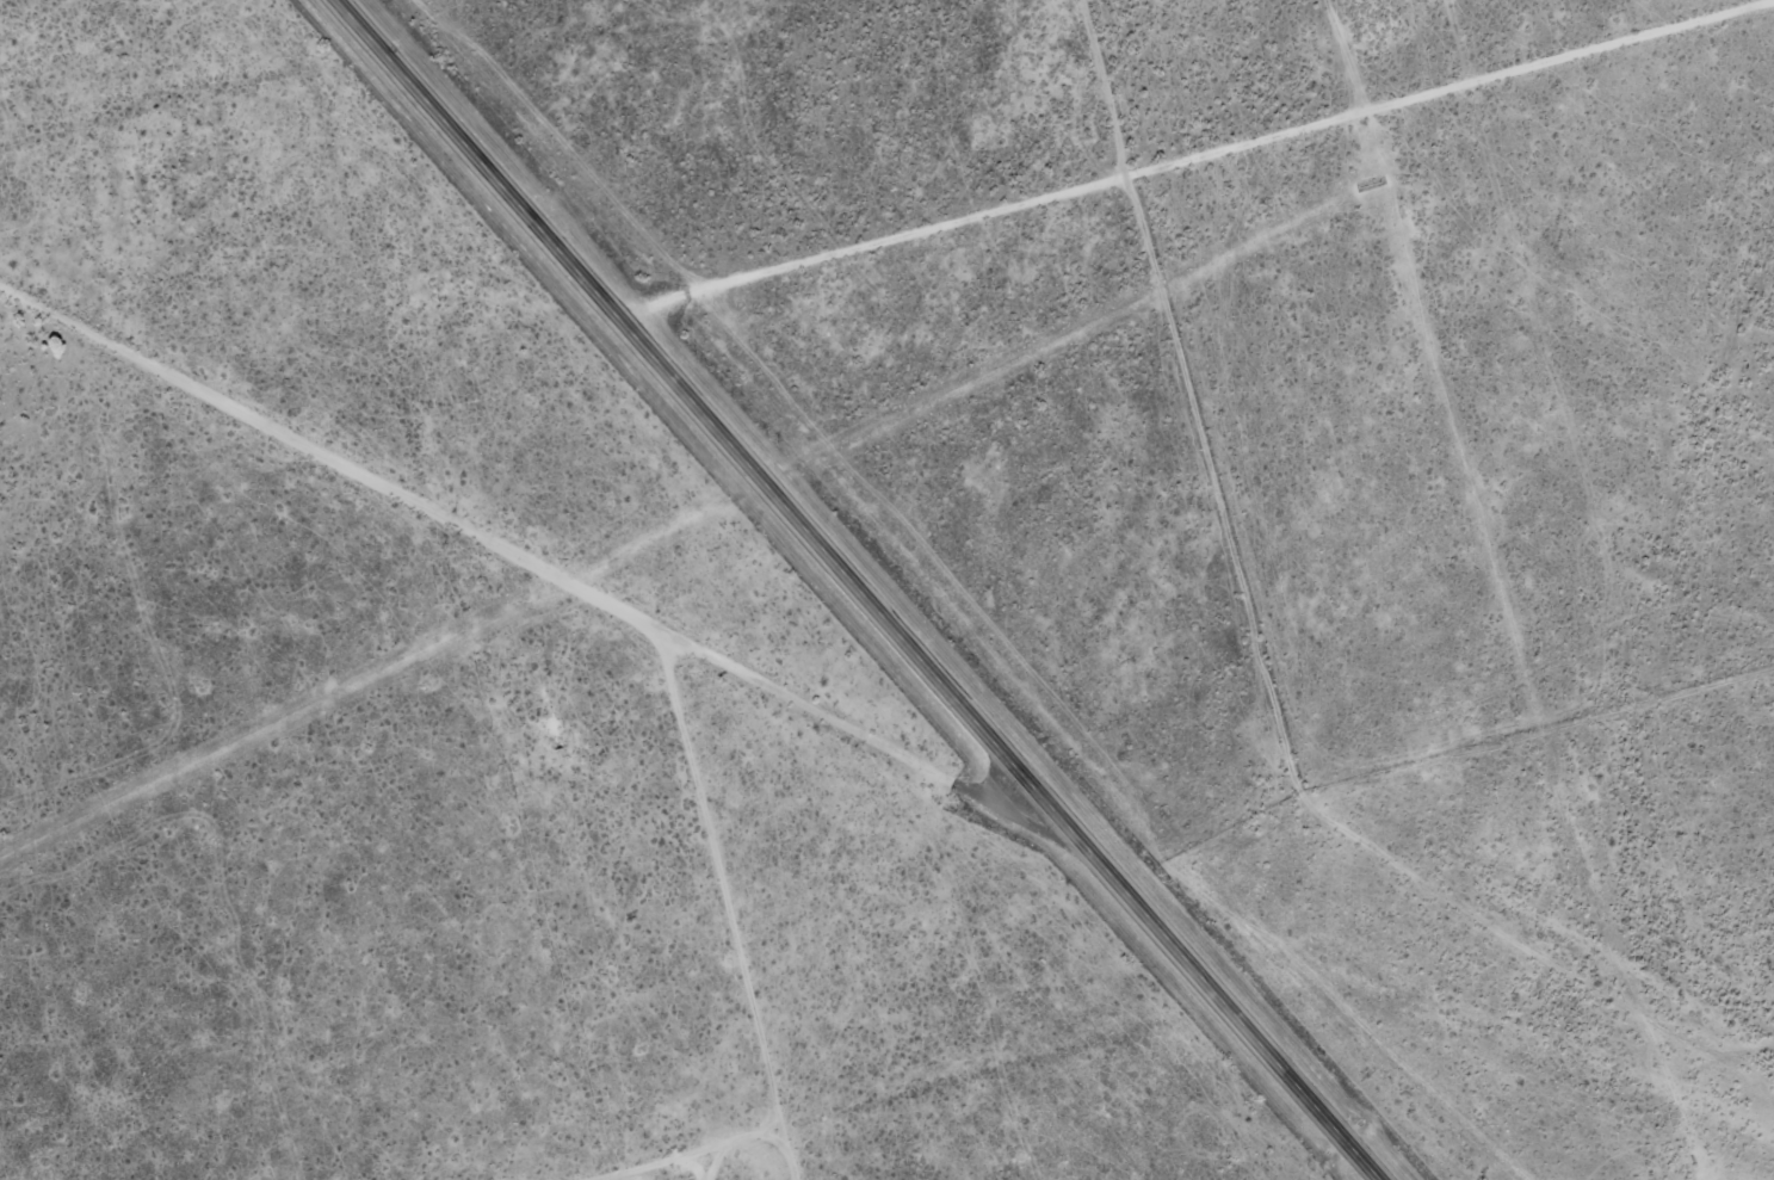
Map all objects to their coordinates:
road: (524, 530)
road: (859, 588)

